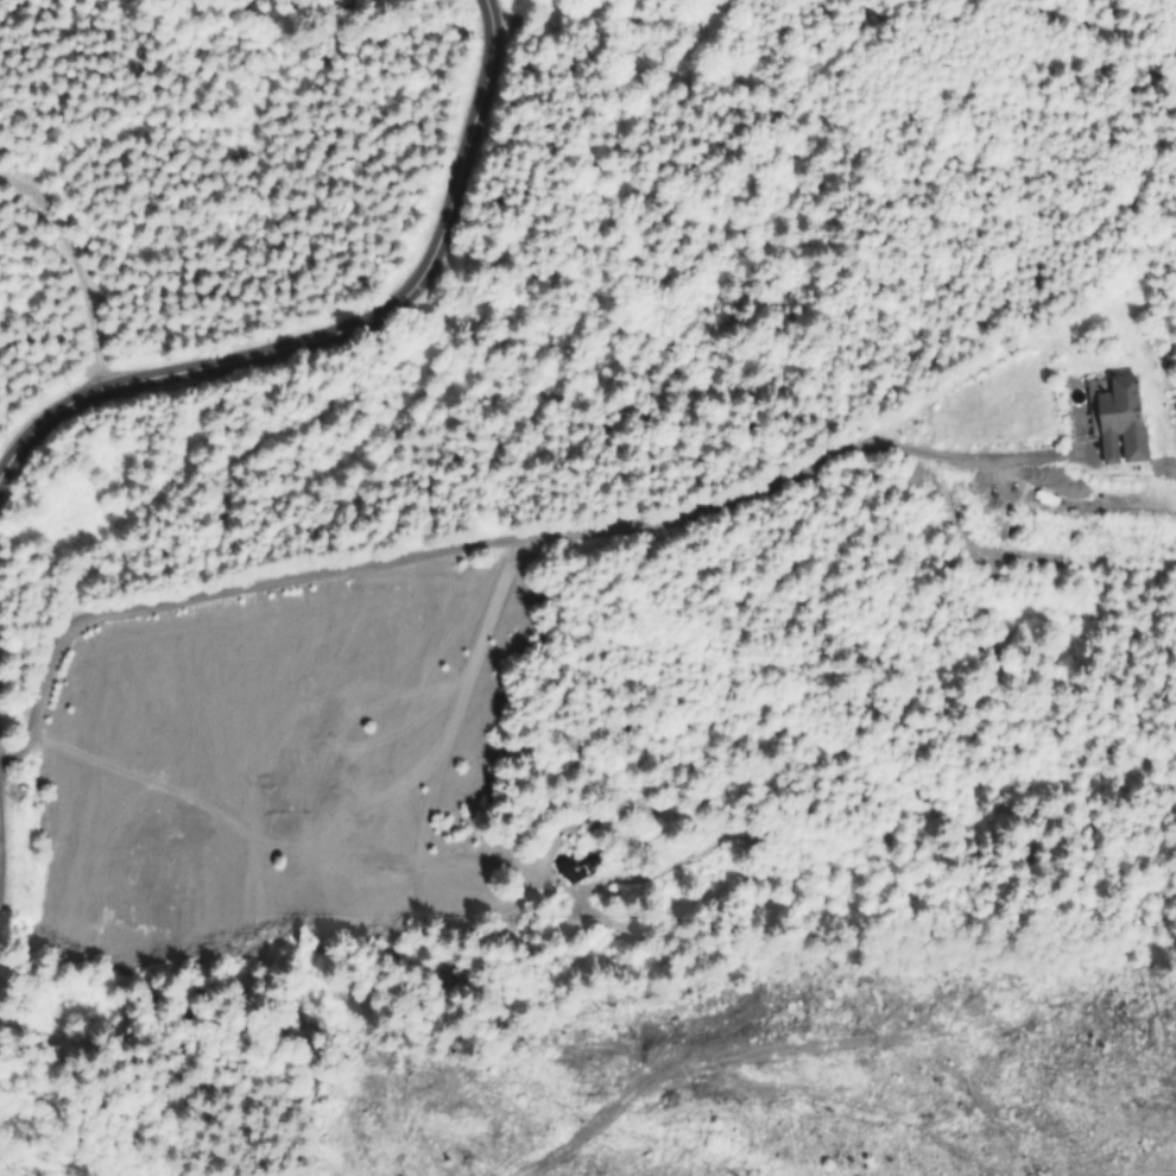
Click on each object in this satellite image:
road: (377, 310)
building: (1124, 419)
road: (21, 444)
road: (502, 539)

